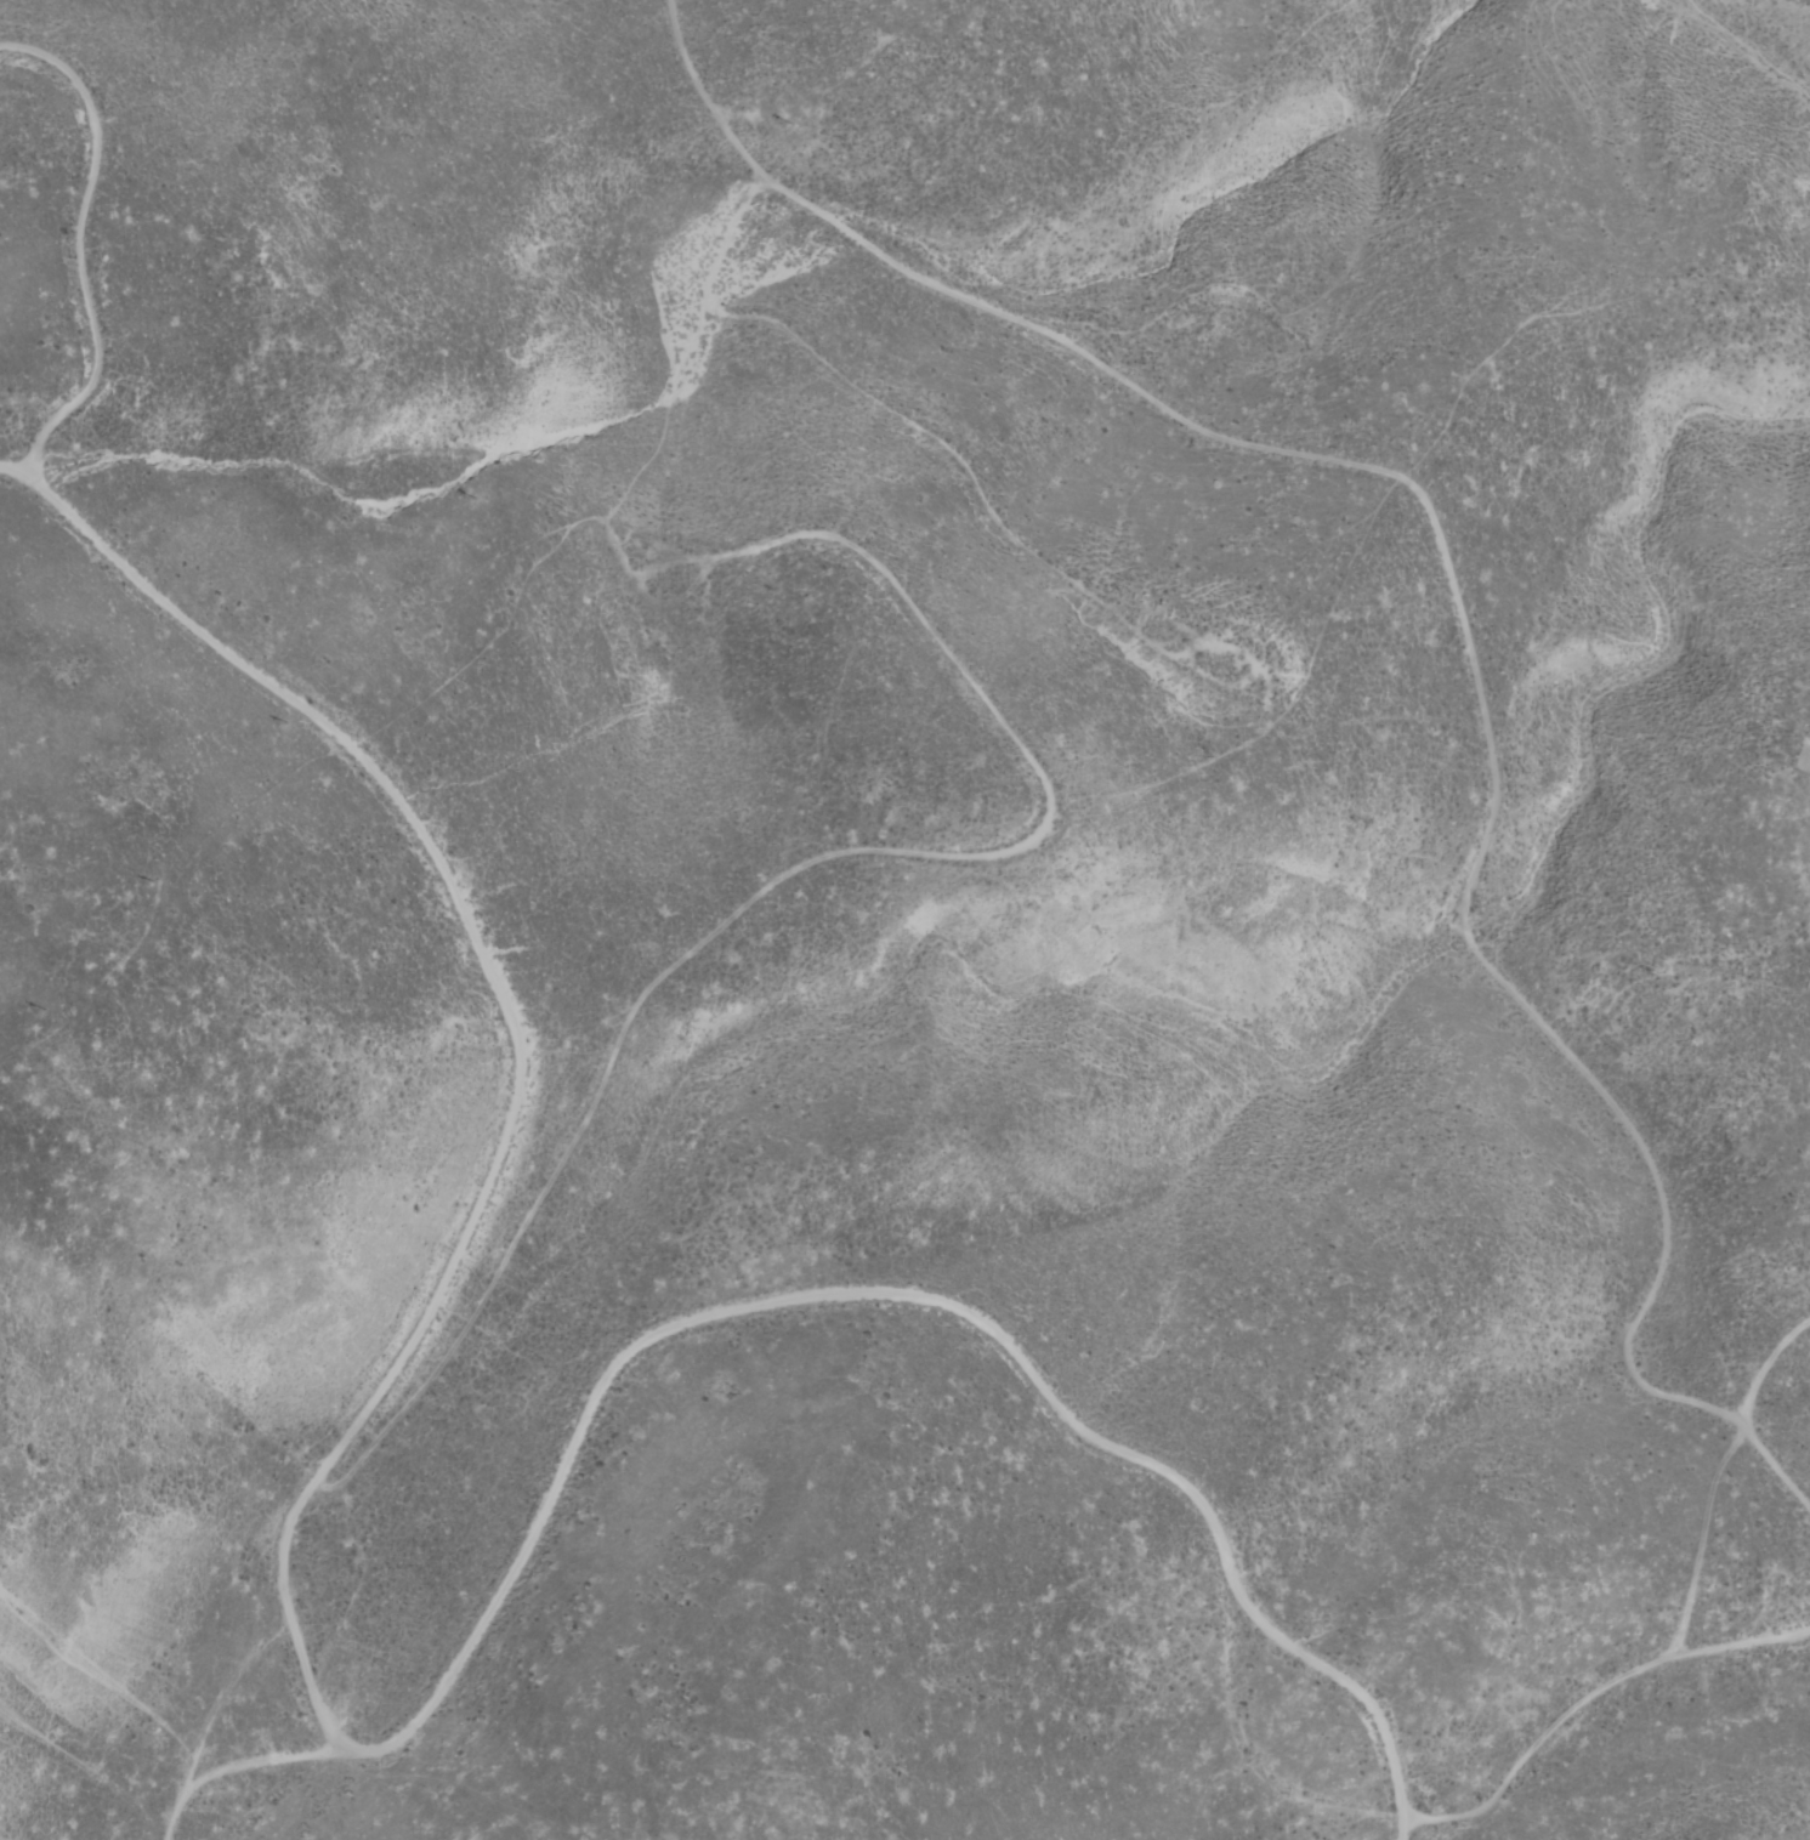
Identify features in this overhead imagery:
road: (80, 243)
road: (1527, 759)
road: (480, 949)
road: (838, 1295)
road: (1697, 1568)
road: (1320, 1665)
road: (1589, 1700)
road: (212, 1726)
road: (387, 1745)
road: (269, 1764)

